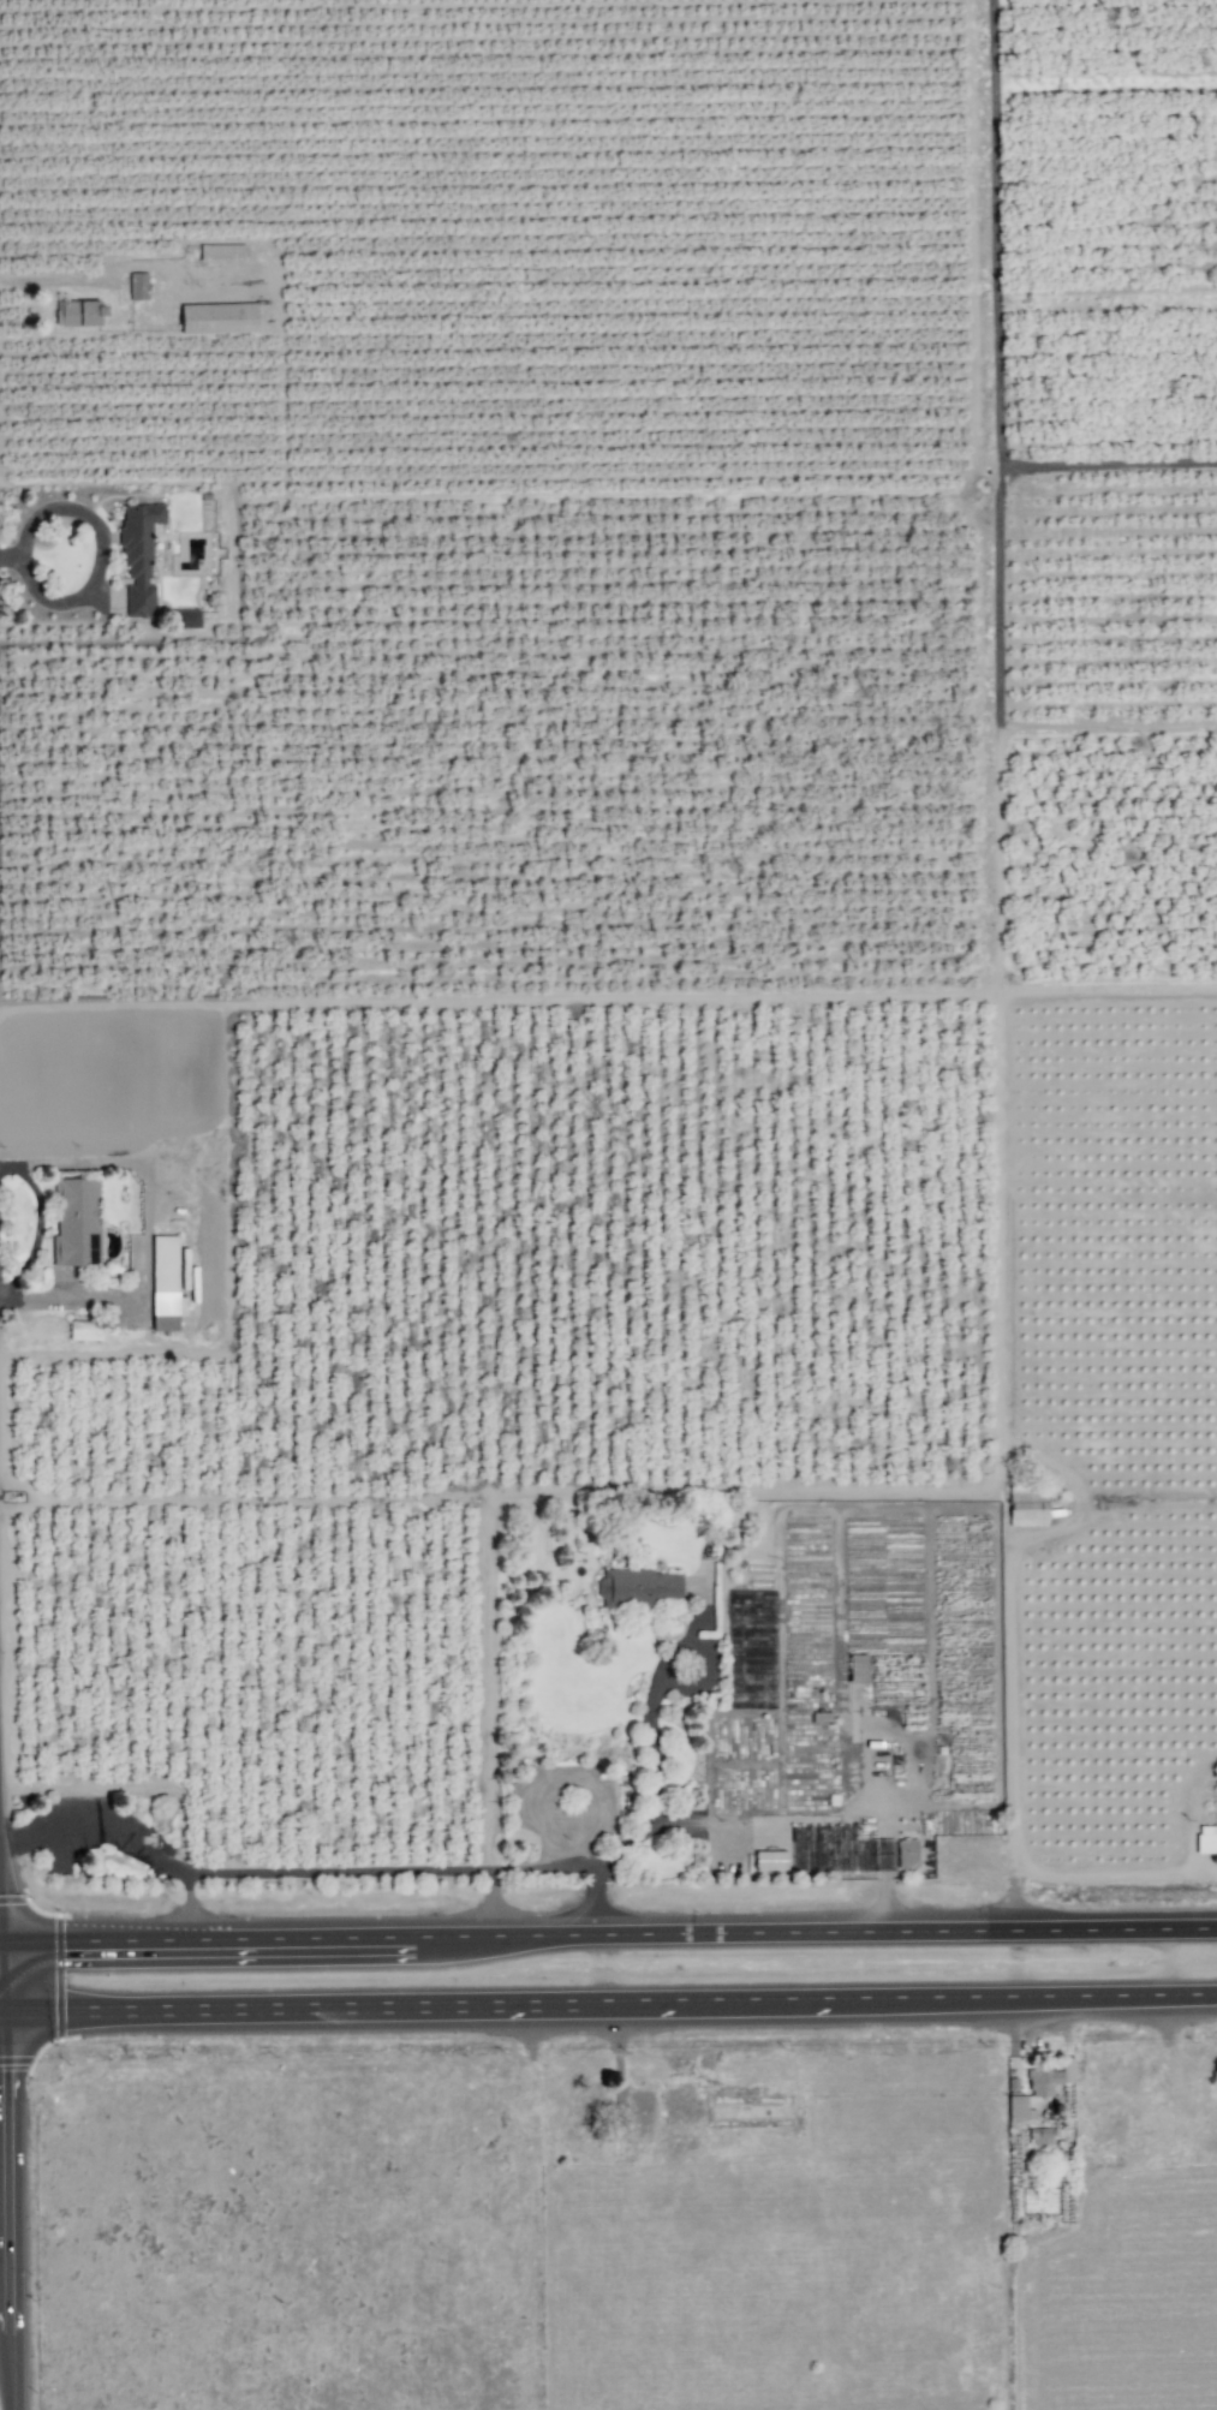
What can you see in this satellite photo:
building: (137, 286)
building: (82, 314)
building: (217, 318)
road: (100, 551)
road: (8, 554)
building: (138, 557)
building: (186, 619)
crop: (578, 1103)
building: (74, 1223)
road: (38, 1225)
building: (165, 1285)
building: (1027, 1505)
building: (636, 1587)
building: (857, 1669)
road: (1008, 1707)
road: (655, 1767)
building: (1206, 1839)
building: (906, 1854)
building: (769, 1861)
road: (292, 1873)
road: (490, 1904)
road: (187, 1909)
road: (608, 1934)
road: (608, 2004)
building: (1037, 2089)
building: (1039, 2138)

